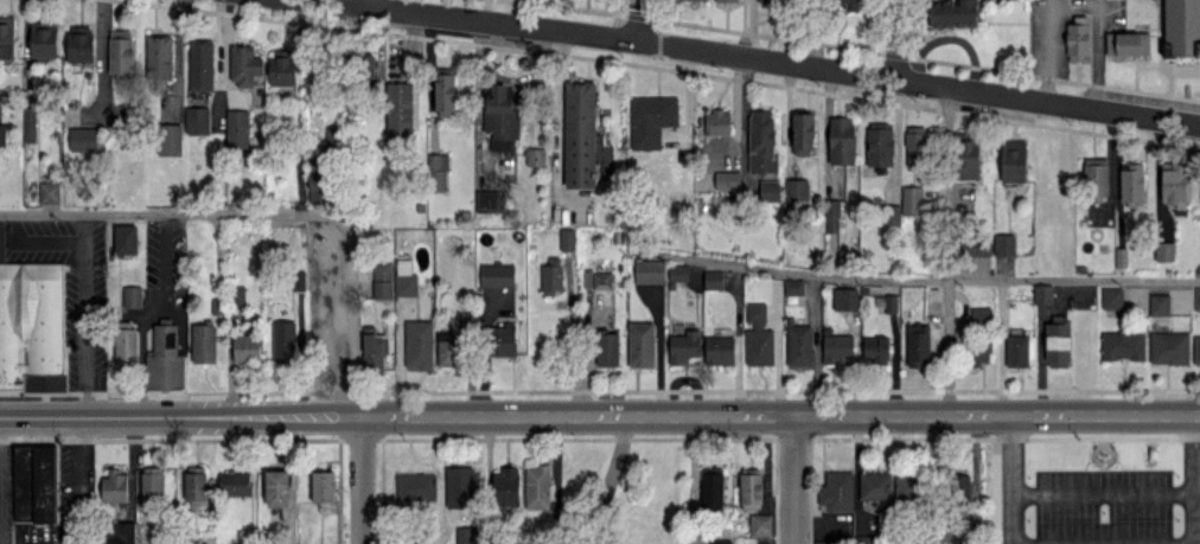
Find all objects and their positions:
building: (696, 0)
building: (725, 0)
building: (773, 0)
road: (364, 1)
building: (848, 4)
building: (953, 13)
road: (640, 18)
road: (746, 26)
building: (1181, 27)
road: (1097, 28)
building: (6, 37)
building: (1077, 38)
building: (44, 39)
road: (894, 39)
building: (79, 43)
building: (1128, 43)
road: (1049, 50)
building: (121, 52)
road: (767, 56)
building: (158, 57)
building: (243, 64)
building: (200, 65)
building: (281, 68)
building: (365, 68)
building: (443, 92)
building: (398, 110)
building: (500, 115)
building: (194, 120)
building: (650, 120)
building: (715, 122)
building: (30, 124)
building: (236, 128)
building: (803, 133)
building: (2, 134)
building: (579, 134)
building: (83, 139)
building: (170, 139)
building: (841, 140)
building: (761, 141)
building: (917, 143)
building: (879, 146)
building: (535, 156)
building: (968, 159)
building: (1013, 160)
building: (436, 172)
building: (317, 179)
building: (1096, 179)
building: (727, 180)
building: (1131, 184)
building: (1174, 185)
building: (796, 188)
building: (768, 190)
building: (49, 192)
building: (490, 198)
building: (911, 200)
road: (166, 213)
building: (831, 216)
building: (566, 238)
building: (126, 239)
road: (49, 241)
building: (1003, 244)
building: (975, 247)
road: (947, 249)
building: (1164, 251)
road: (164, 257)
building: (649, 271)
building: (677, 273)
building: (496, 275)
building: (381, 279)
building: (404, 279)
building: (550, 279)
building: (713, 279)
building: (596, 280)
road: (920, 280)
building: (793, 287)
building: (1042, 294)
building: (130, 295)
building: (238, 296)
building: (1111, 297)
building: (844, 299)
building: (1196, 299)
building: (891, 302)
building: (1158, 305)
road: (333, 314)
road: (81, 315)
building: (981, 315)
building: (31, 325)
building: (758, 335)
building: (502, 339)
building: (283, 341)
building: (1058, 341)
road: (812, 343)
building: (202, 344)
building: (417, 344)
building: (640, 344)
building: (798, 345)
building: (918, 345)
road: (996, 345)
building: (1122, 345)
building: (125, 346)
building: (684, 346)
building: (245, 347)
building: (837, 347)
building: (1169, 347)
building: (447, 348)
building: (606, 348)
building: (875, 348)
building: (372, 350)
building: (719, 350)
building: (1016, 350)
building: (1196, 350)
building: (978, 352)
building: (164, 359)
road: (779, 412)
road: (179, 416)
road: (792, 478)
road: (1013, 478)
road: (1194, 478)
road: (609, 479)
road: (360, 480)
road: (65, 481)
building: (34, 482)
building: (151, 482)
building: (232, 482)
building: (875, 485)
building: (115, 486)
building: (193, 486)
building: (321, 486)
building: (459, 486)
building: (537, 486)
building: (909, 486)
building: (275, 487)
building: (415, 487)
building: (506, 487)
road: (1103, 488)
building: (710, 489)
building: (962, 489)
building: (749, 491)
building: (836, 491)
building: (760, 524)
building: (115, 532)
building: (466, 535)
building: (187, 538)
building: (864, 539)
building: (720, 540)
building: (824, 542)
road: (1103, 542)

